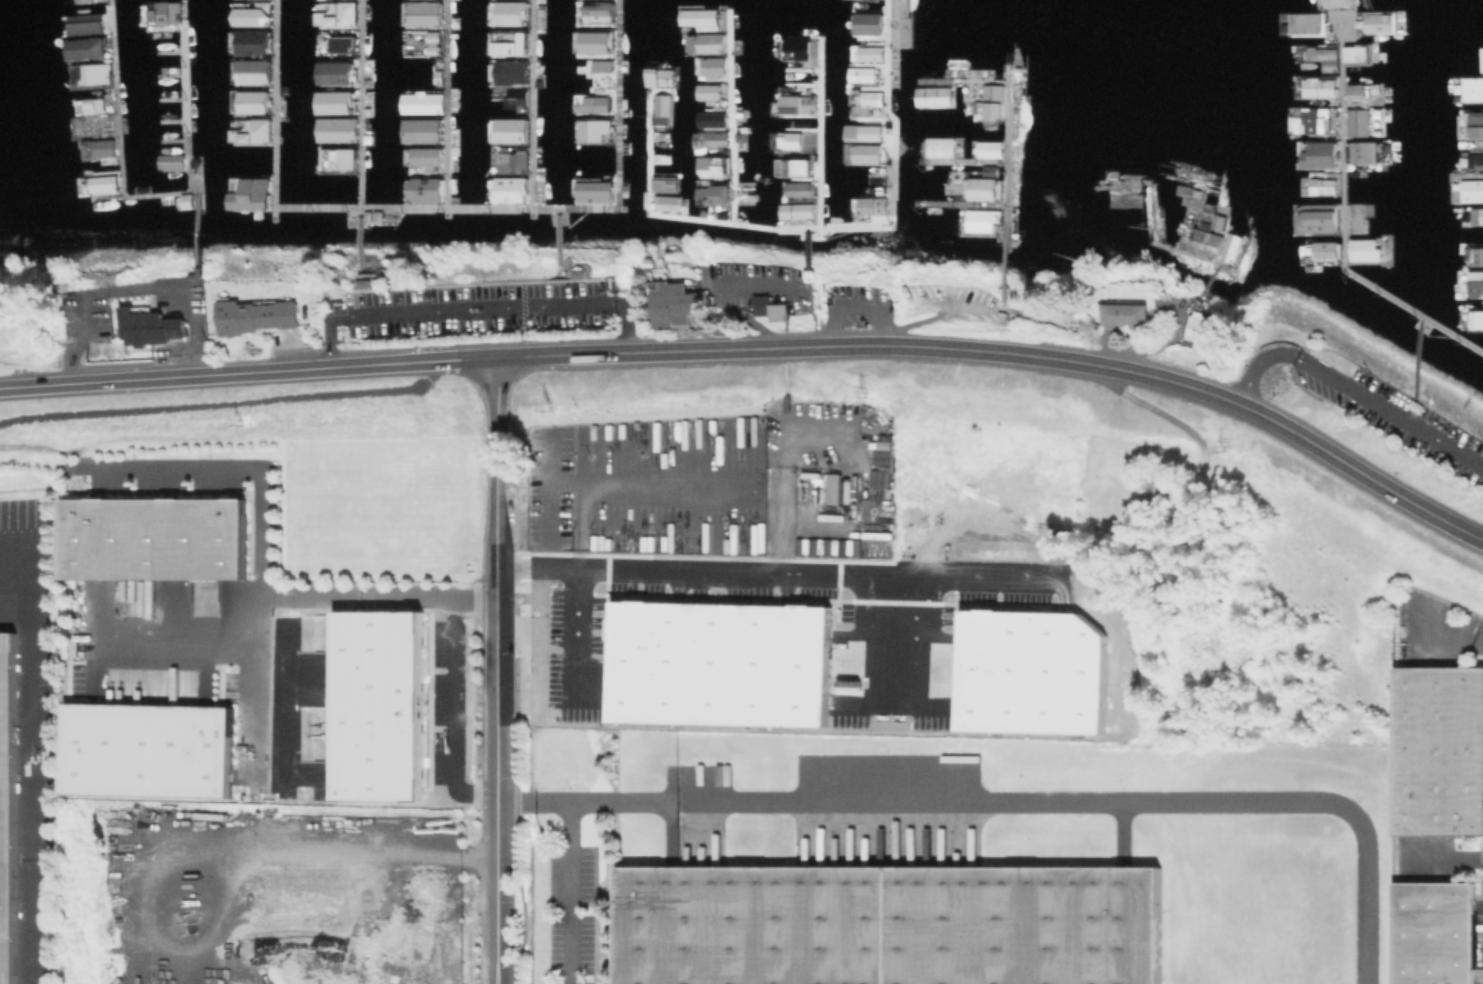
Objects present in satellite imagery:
building: (1337, 2)
building: (165, 12)
building: (598, 12)
building: (508, 14)
building: (337, 15)
building: (428, 15)
building: (868, 23)
building: (1303, 23)
building: (90, 25)
building: (595, 41)
building: (341, 42)
building: (709, 42)
building: (250, 43)
building: (513, 43)
building: (798, 47)
building: (89, 50)
building: (1355, 55)
building: (1322, 56)
building: (595, 70)
building: (250, 72)
building: (338, 72)
building: (90, 73)
building: (514, 73)
building: (661, 77)
building: (94, 86)
building: (1319, 87)
building: (1471, 88)
building: (706, 91)
building: (932, 96)
pier: (115, 97)
pier: (619, 101)
building: (249, 102)
building: (333, 102)
building: (992, 102)
pier: (530, 103)
building: (591, 103)
building: (797, 103)
pier: (444, 106)
building: (101, 107)
pier: (183, 108)
building: (664, 108)
pier: (273, 109)
pier: (729, 115)
building: (1312, 120)
building: (1356, 122)
building: (1474, 123)
building: (103, 125)
building: (594, 129)
building: (421, 130)
building: (508, 130)
pier: (819, 130)
building: (258, 131)
pier: (360, 135)
building: (716, 140)
pier: (1005, 142)
building: (105, 148)
building: (988, 149)
building: (1364, 151)
building: (1319, 154)
building: (425, 156)
building: (664, 156)
building: (341, 158)
building: (864, 159)
pier: (961, 159)
building: (1474, 159)
building: (172, 162)
building: (710, 165)
building: (512, 176)
building: (103, 183)
building: (667, 184)
building: (982, 189)
pier: (184, 190)
building: (1471, 190)
building: (425, 191)
building: (594, 193)
building: (251, 195)
building: (190, 201)
pier: (960, 202)
building: (670, 204)
pier: (453, 206)
building: (1481, 215)
building: (1313, 217)
building: (1357, 218)
building: (981, 219)
pier: (1340, 220)
pier: (805, 226)
pier: (556, 240)
building: (1201, 241)
pier: (806, 245)
building: (1229, 247)
pier: (1180, 249)
building: (1326, 250)
building: (1362, 250)
building: (1478, 255)
pier: (1207, 282)
building: (1475, 283)
building: (363, 285)
road: (132, 287)
building: (672, 304)
road: (855, 306)
building: (769, 308)
road: (481, 310)
road: (934, 314)
building: (1125, 314)
building: (256, 315)
building: (1475, 318)
building: (150, 325)
road: (189, 329)
building: (1203, 331)
road: (78, 338)
road: (1010, 353)
road: (476, 358)
road: (227, 373)
road: (1352, 390)
road: (231, 403)
road: (497, 450)
road: (778, 470)
road: (653, 480)
road: (550, 486)
road: (581, 524)
building: (152, 538)
road: (263, 553)
road: (496, 562)
road: (778, 572)
road: (578, 636)
road: (170, 640)
road: (899, 640)
road: (269, 646)
road: (252, 647)
road: (496, 652)
building: (712, 665)
building: (1024, 674)
building: (385, 703)
road: (285, 705)
road: (456, 713)
road: (251, 743)
building: (146, 750)
building: (1440, 752)
road: (29, 755)
road: (496, 762)
road: (1050, 800)
road: (533, 801)
building: (6, 805)
road: (440, 852)
road: (496, 892)
road: (569, 892)
building: (889, 923)
building: (1436, 934)

